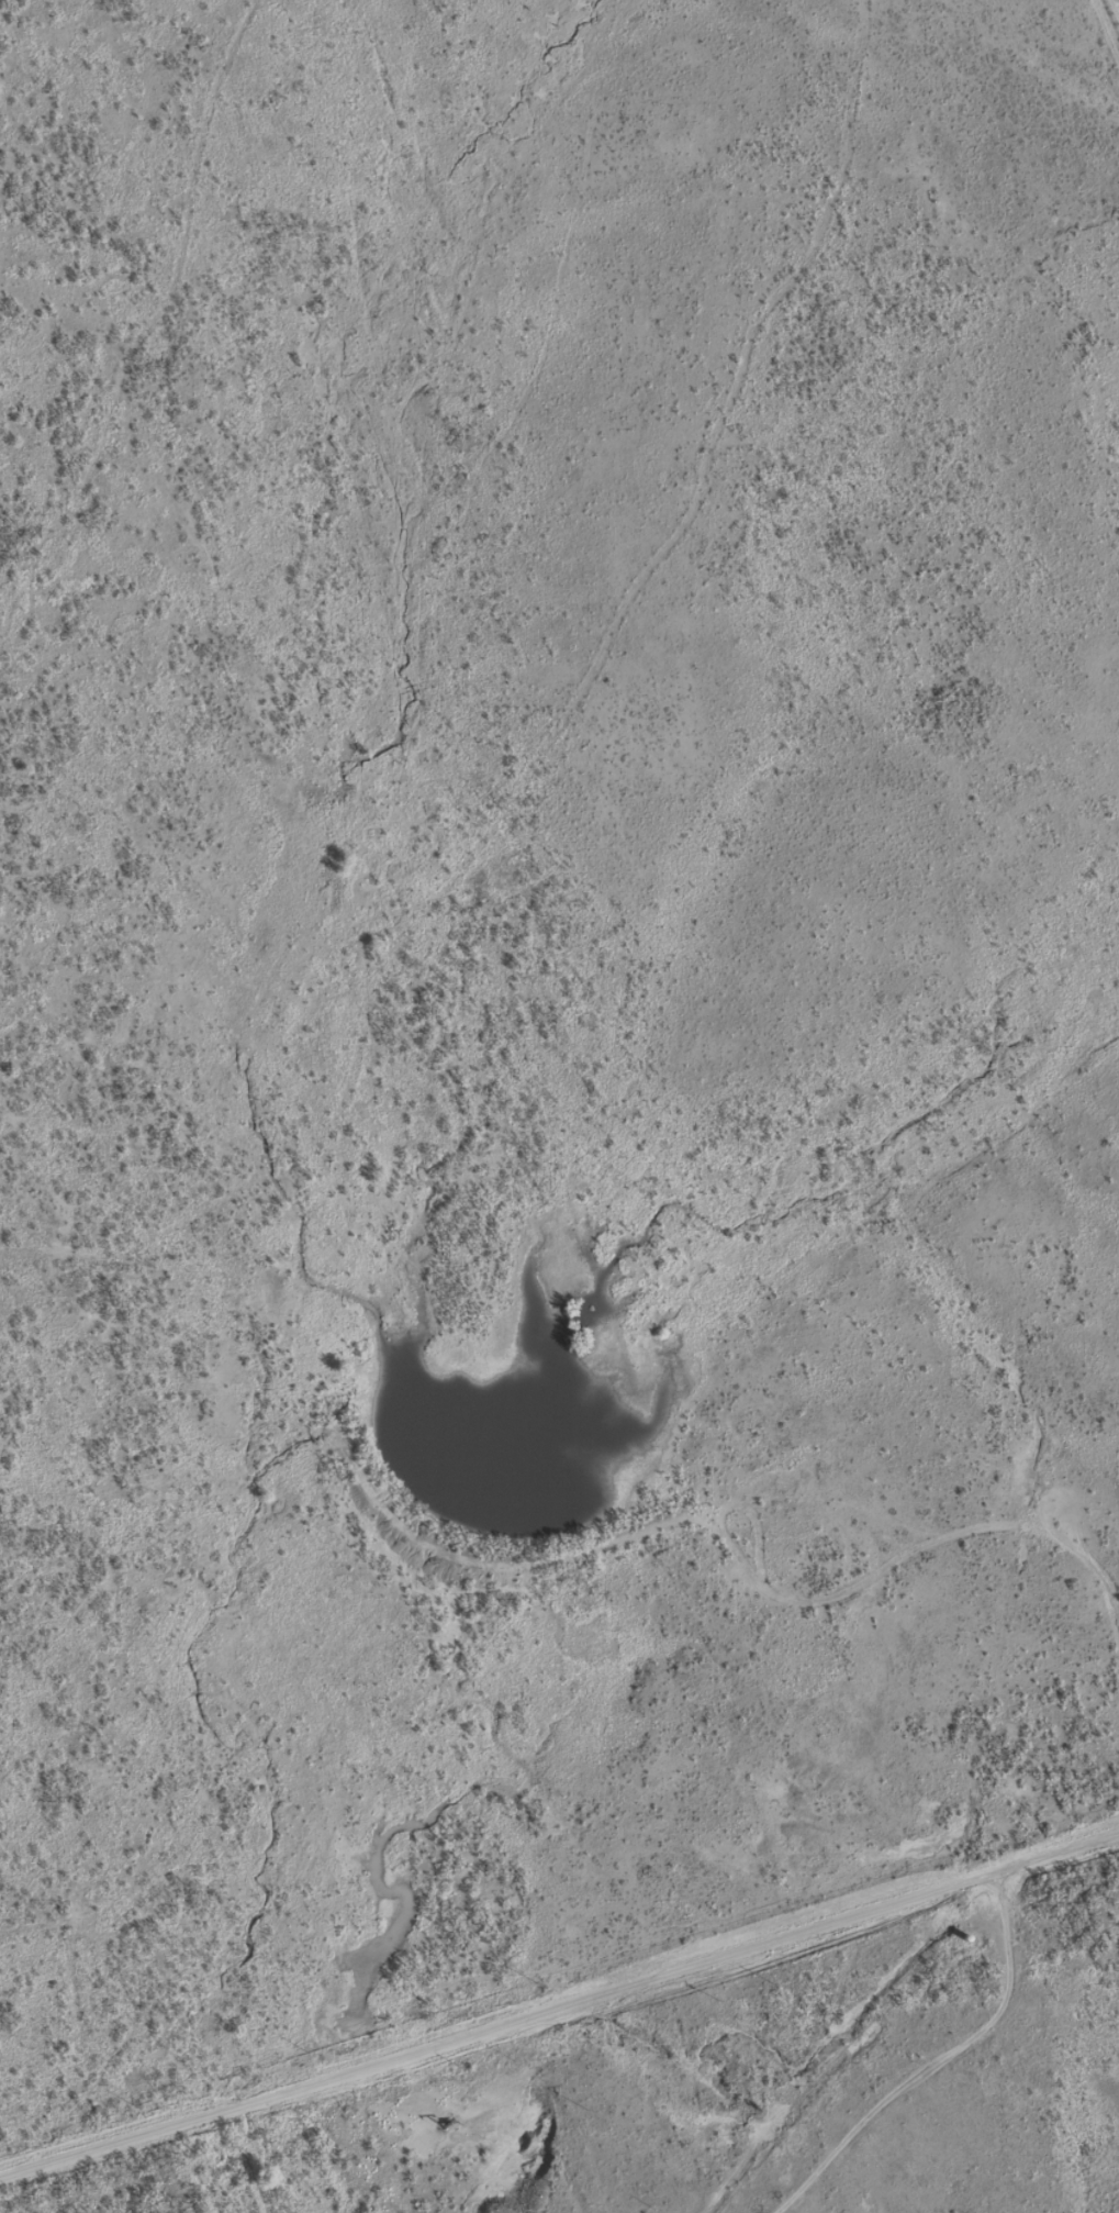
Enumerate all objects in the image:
road: (1047, 1978)
road: (583, 2036)
road: (1010, 2057)

